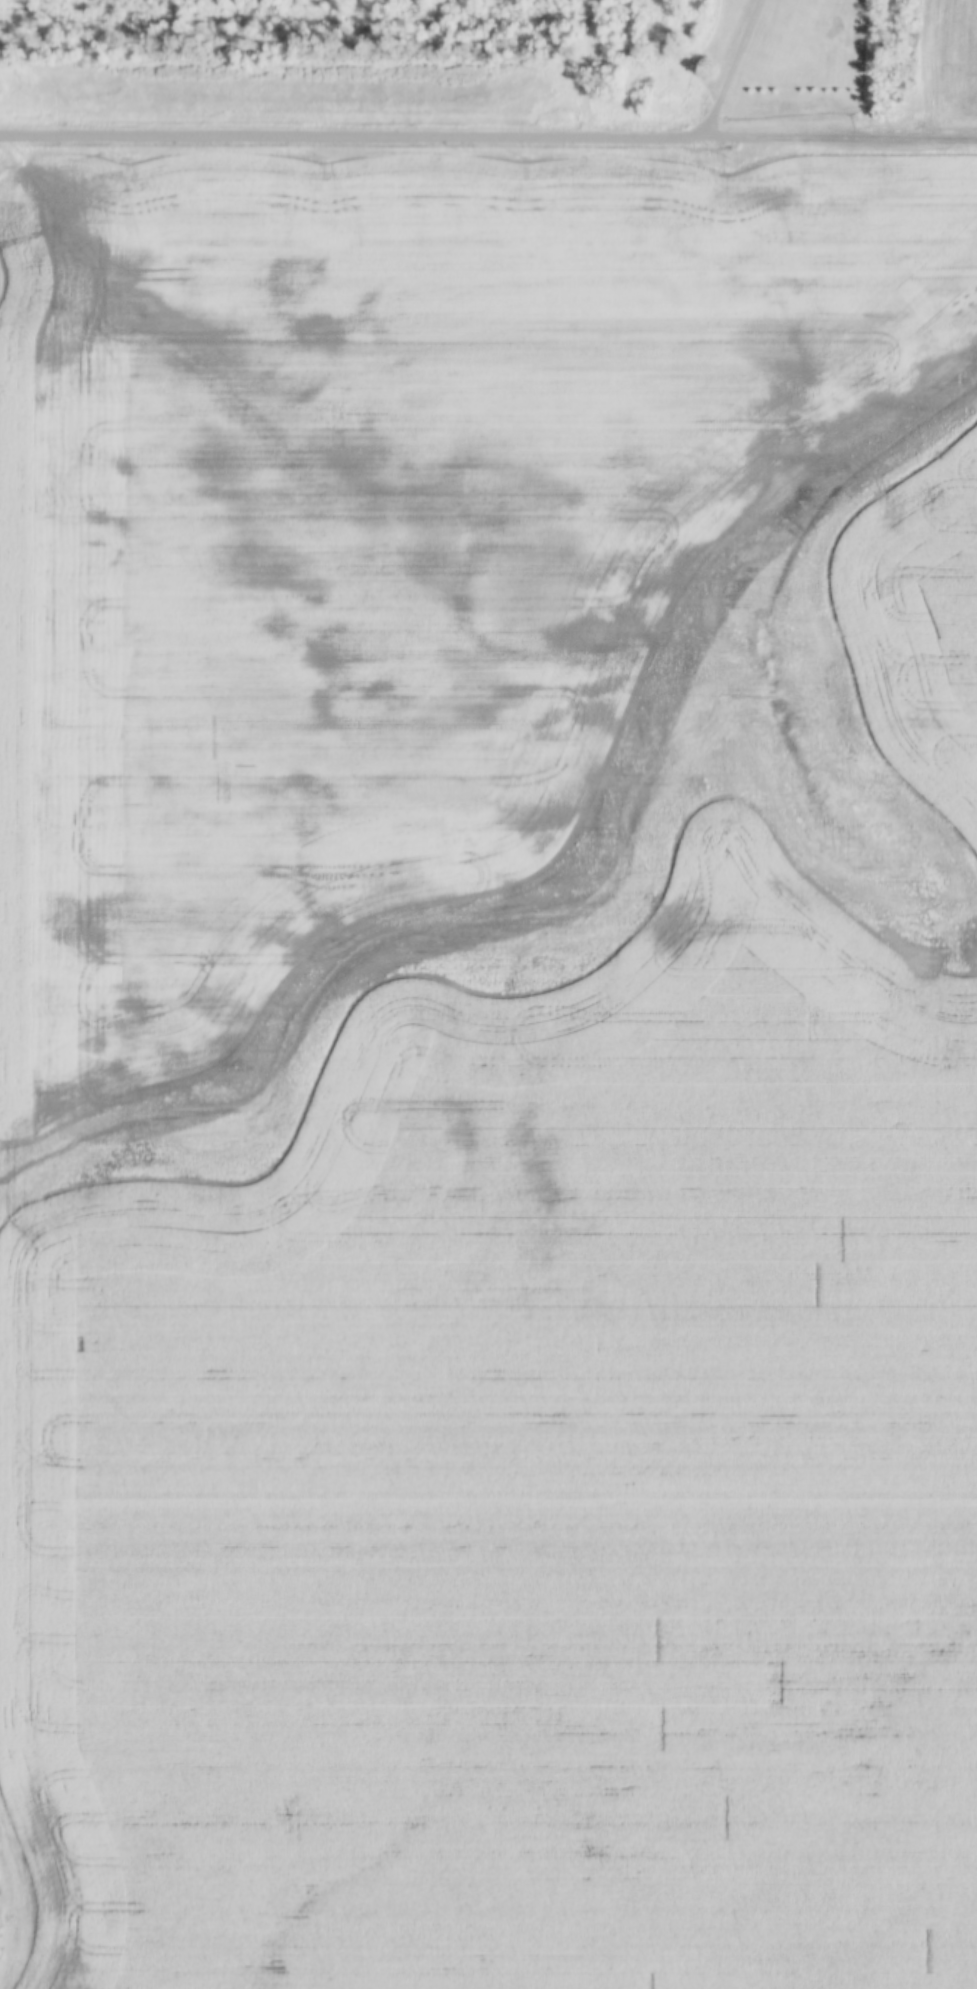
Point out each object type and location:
road: (735, 70)
road: (352, 139)
road: (840, 140)

